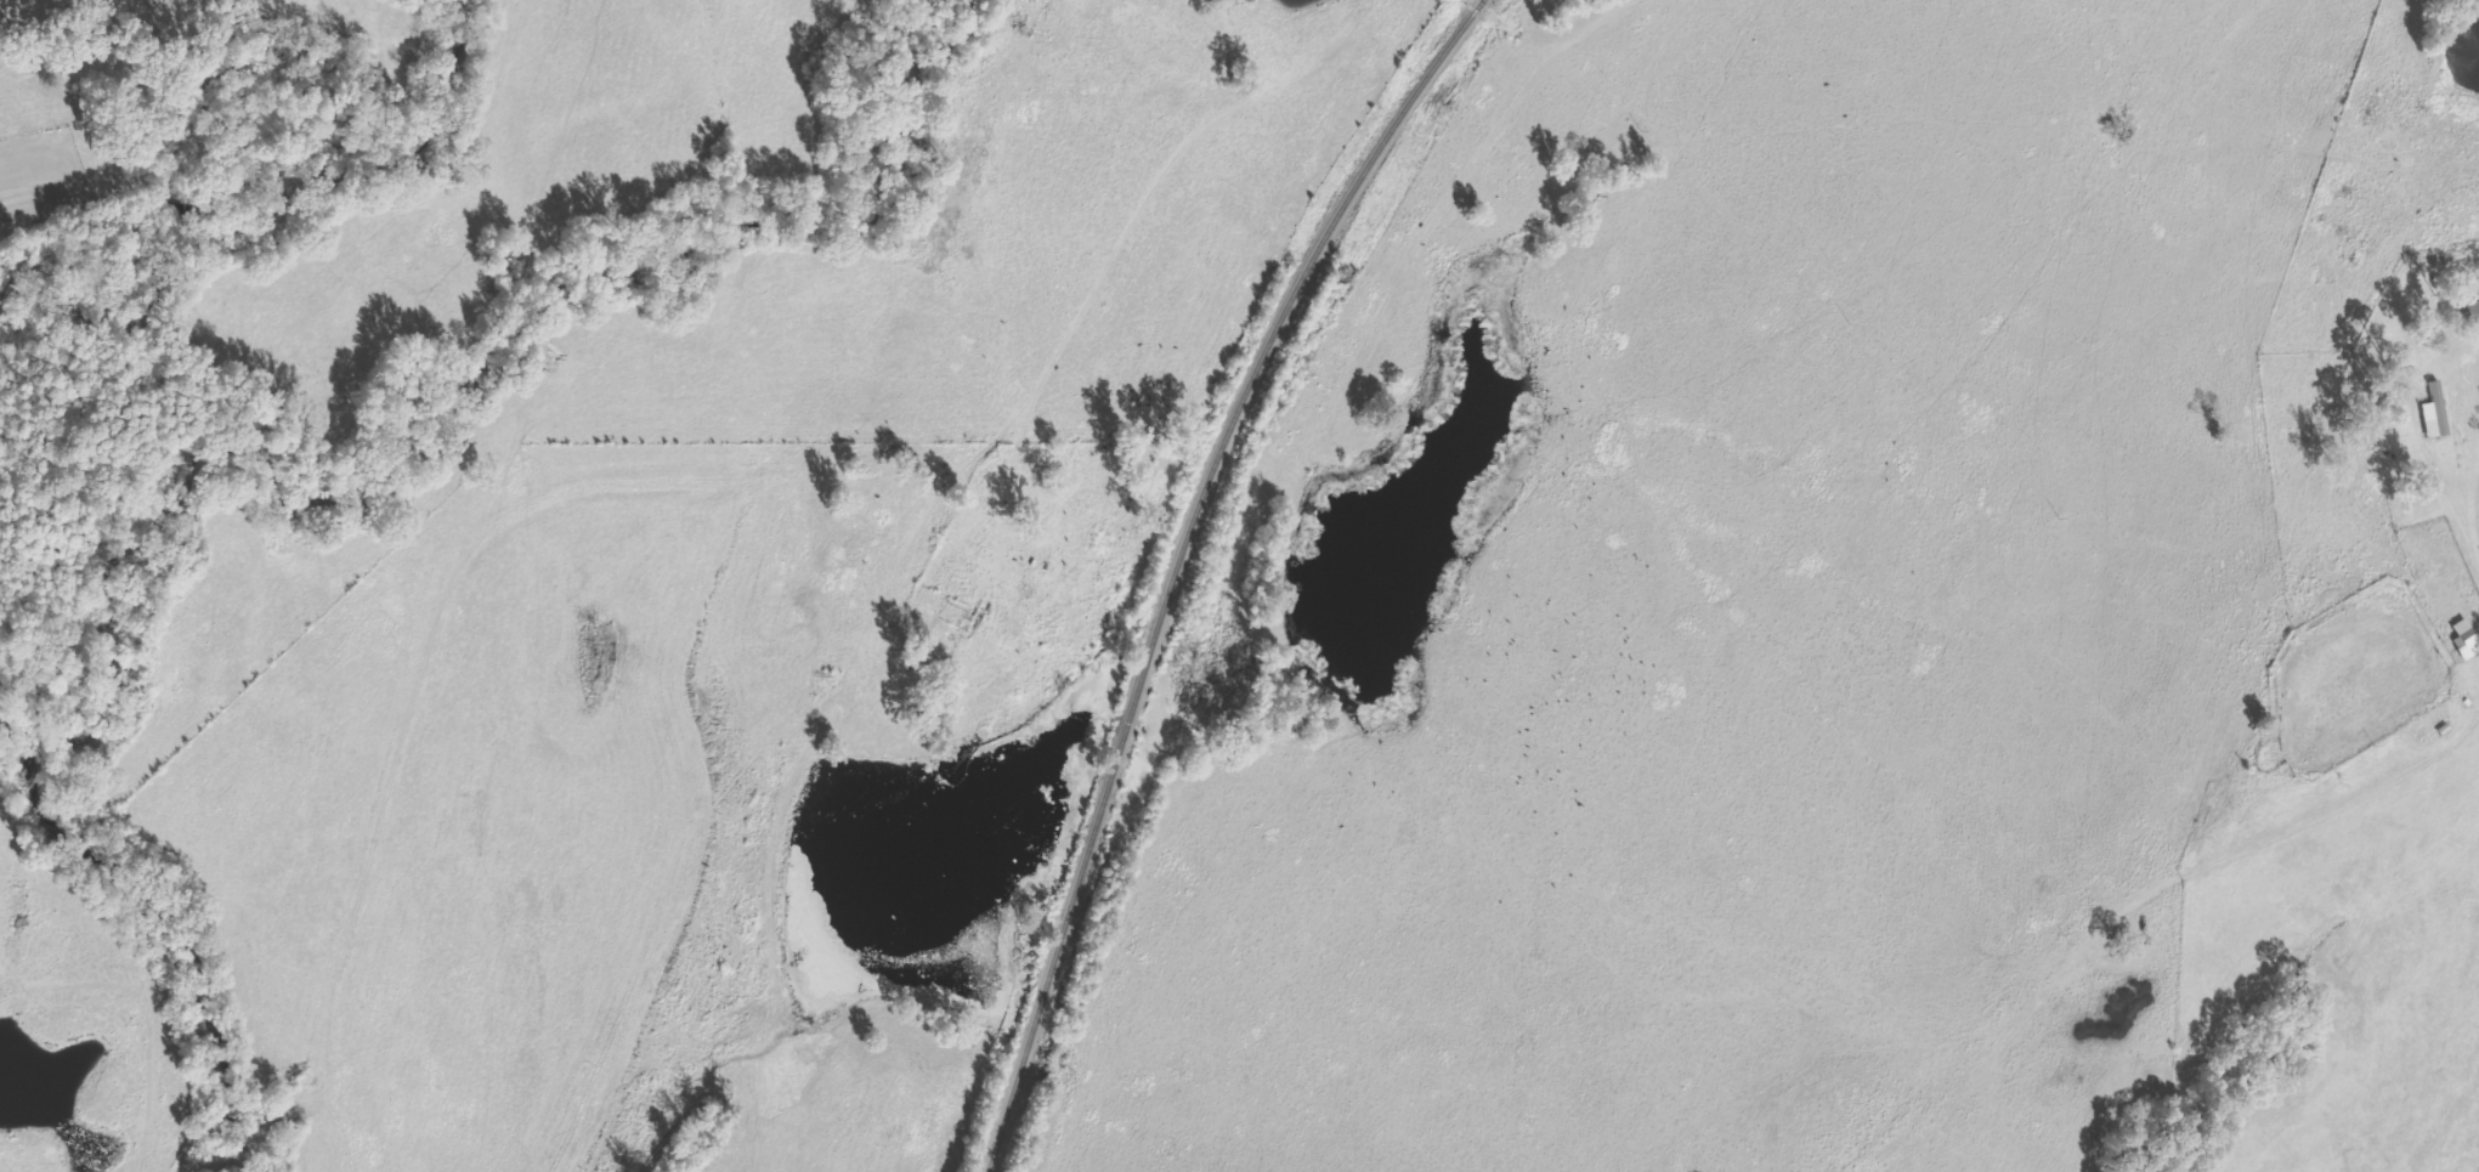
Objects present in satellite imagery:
building: (2470, 311)
building: (2435, 406)
railway: (1175, 560)
building: (2466, 634)

